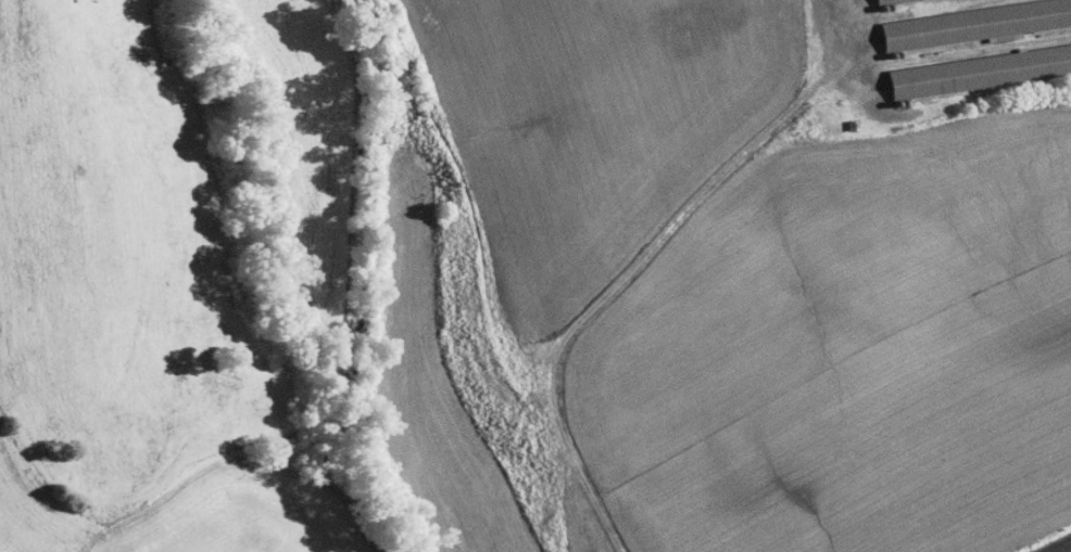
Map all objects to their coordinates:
road: (836, 4)
building: (960, 18)
building: (973, 63)
railway: (1060, 547)

